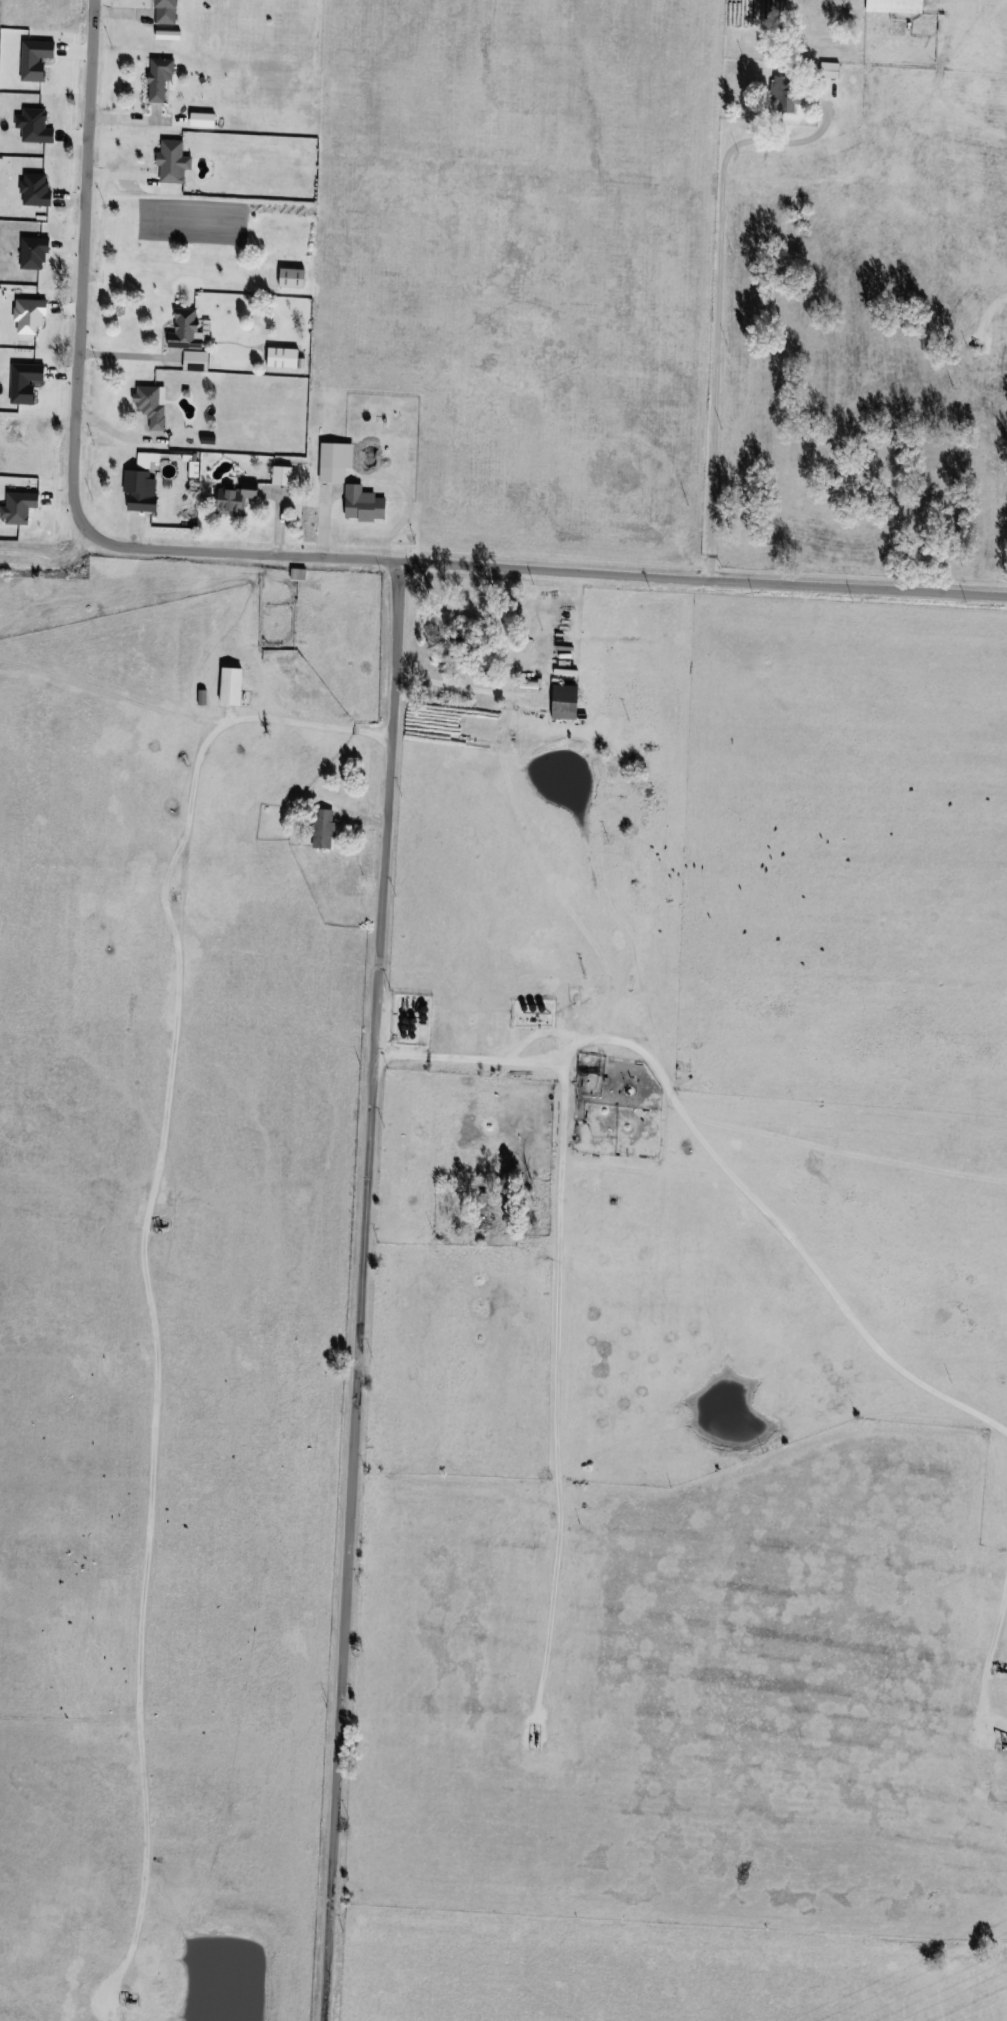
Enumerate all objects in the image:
building: (896, 6)
building: (168, 11)
building: (900, 27)
building: (161, 78)
building: (787, 92)
building: (294, 278)
road: (721, 302)
building: (187, 329)
building: (285, 357)
building: (153, 404)
road: (73, 425)
building: (283, 475)
building: (141, 490)
road: (702, 582)
building: (232, 685)
building: (567, 701)
building: (325, 828)
road: (146, 1257)
road: (360, 1290)

